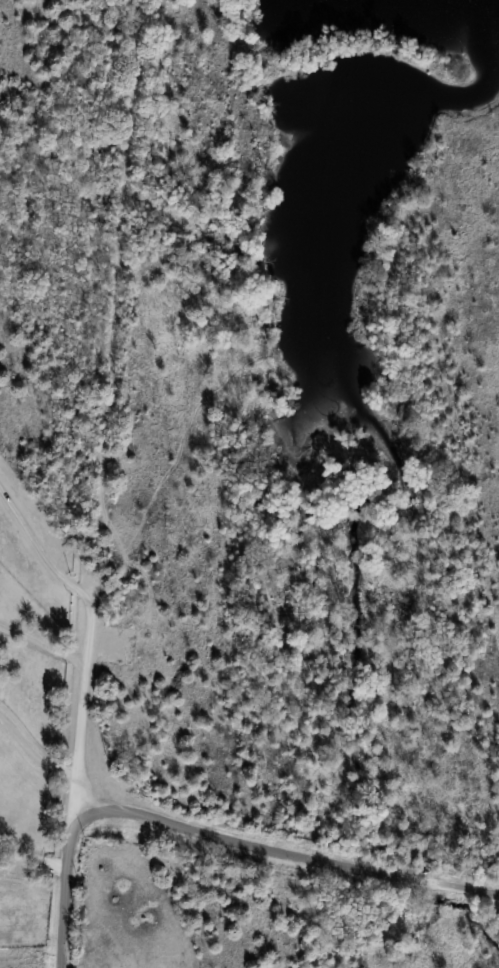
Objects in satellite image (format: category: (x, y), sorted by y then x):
road: (88, 635)
road: (42, 643)
road: (32, 757)
road: (293, 852)
road: (32, 864)
road: (64, 887)

